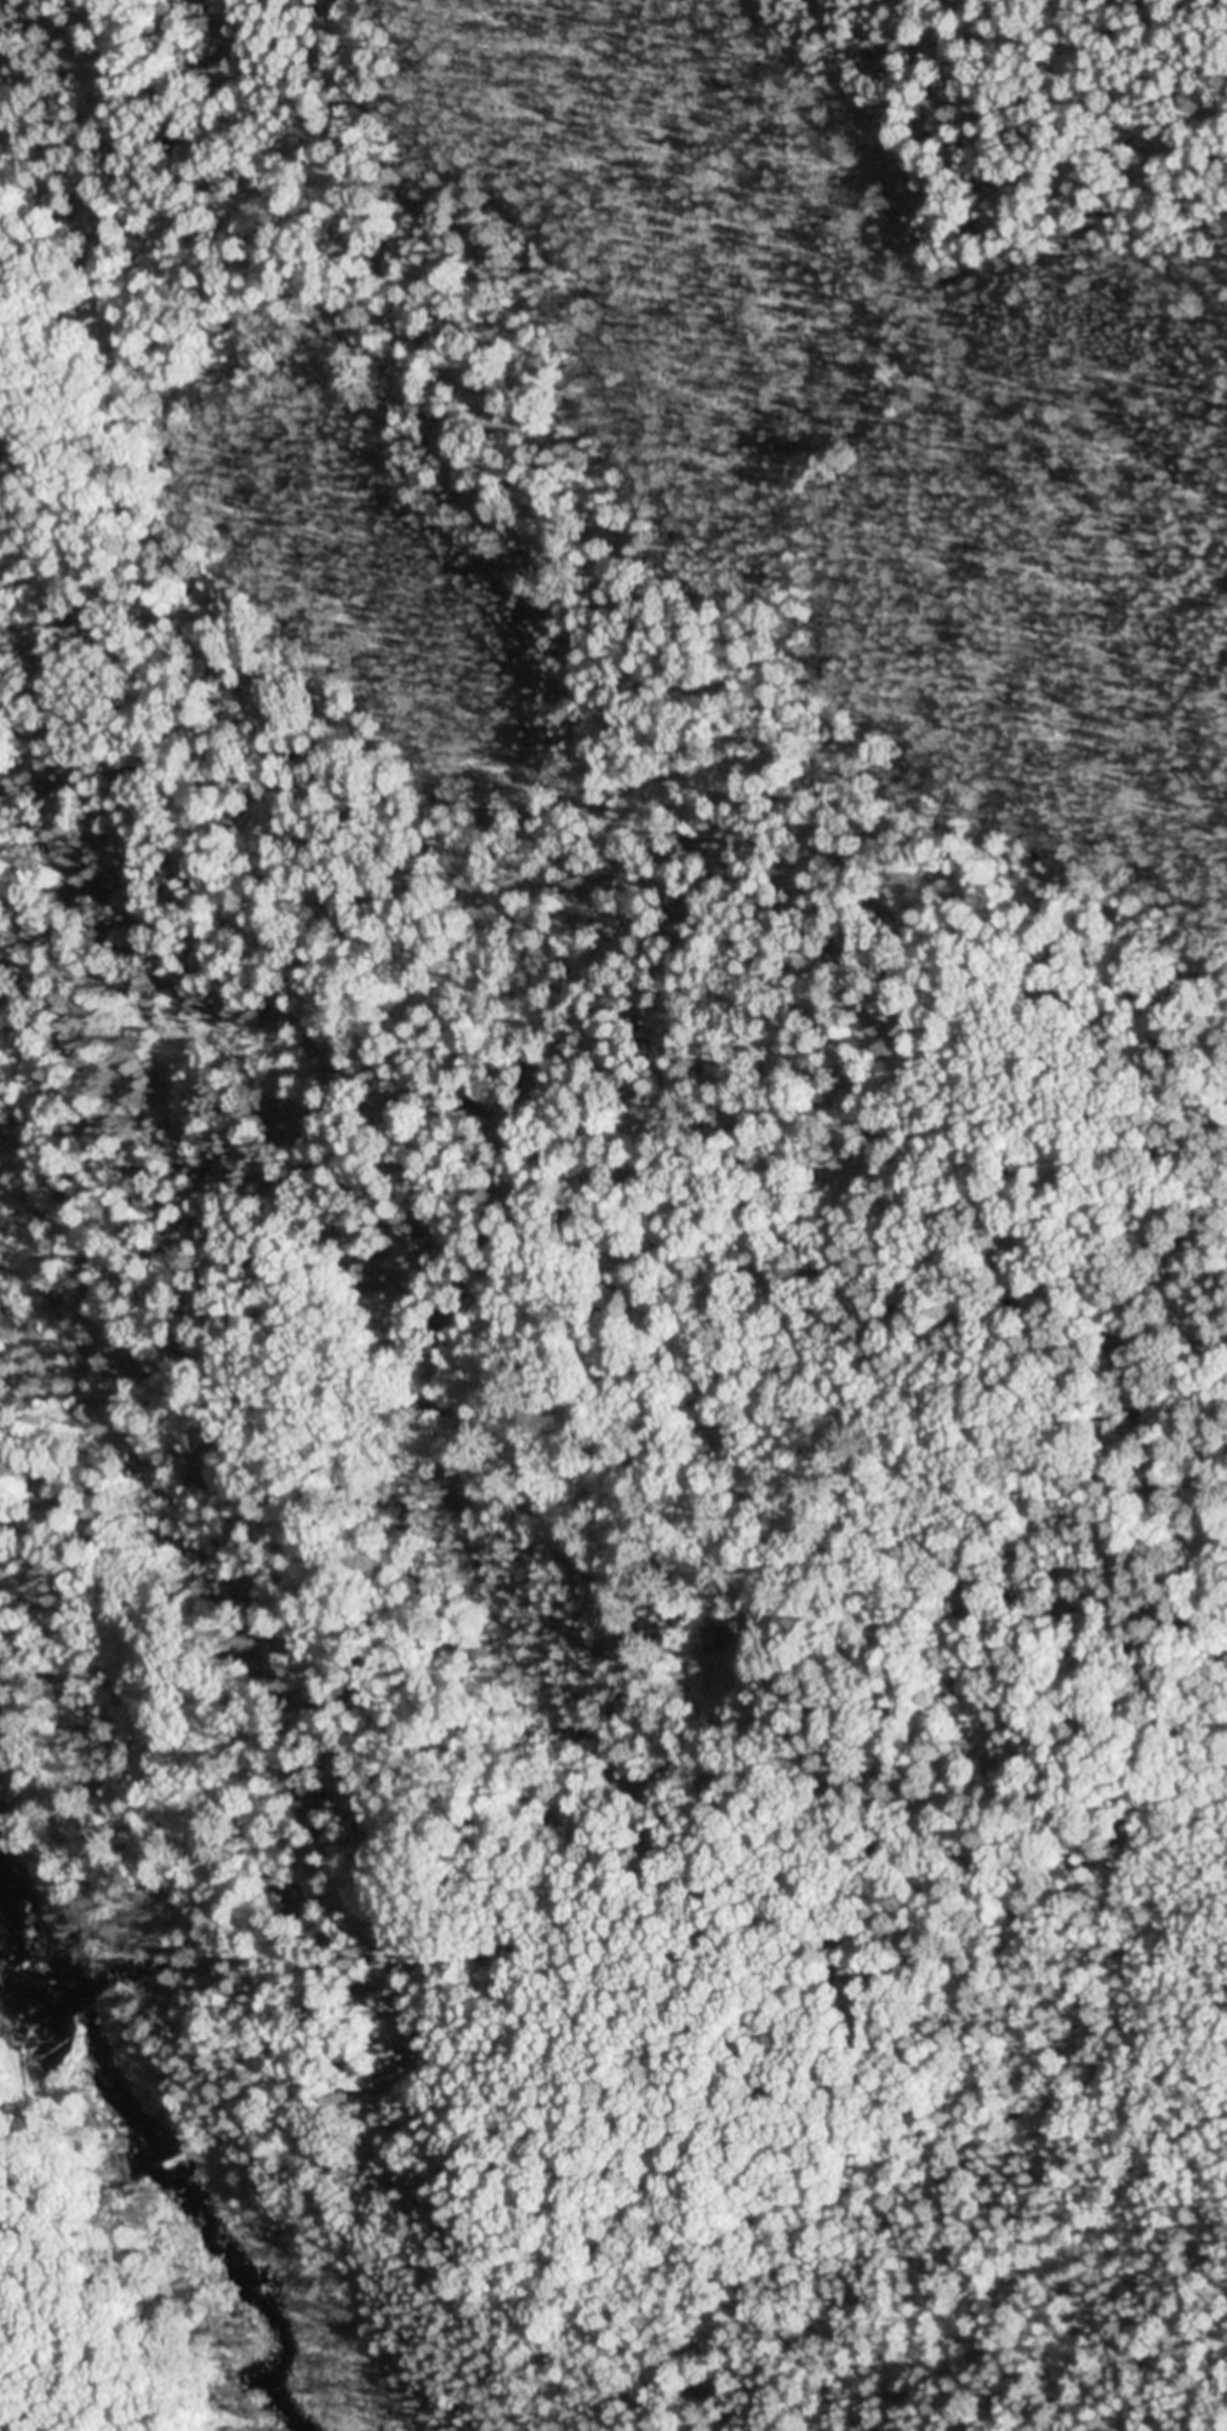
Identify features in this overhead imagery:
river: (175, 2156)

